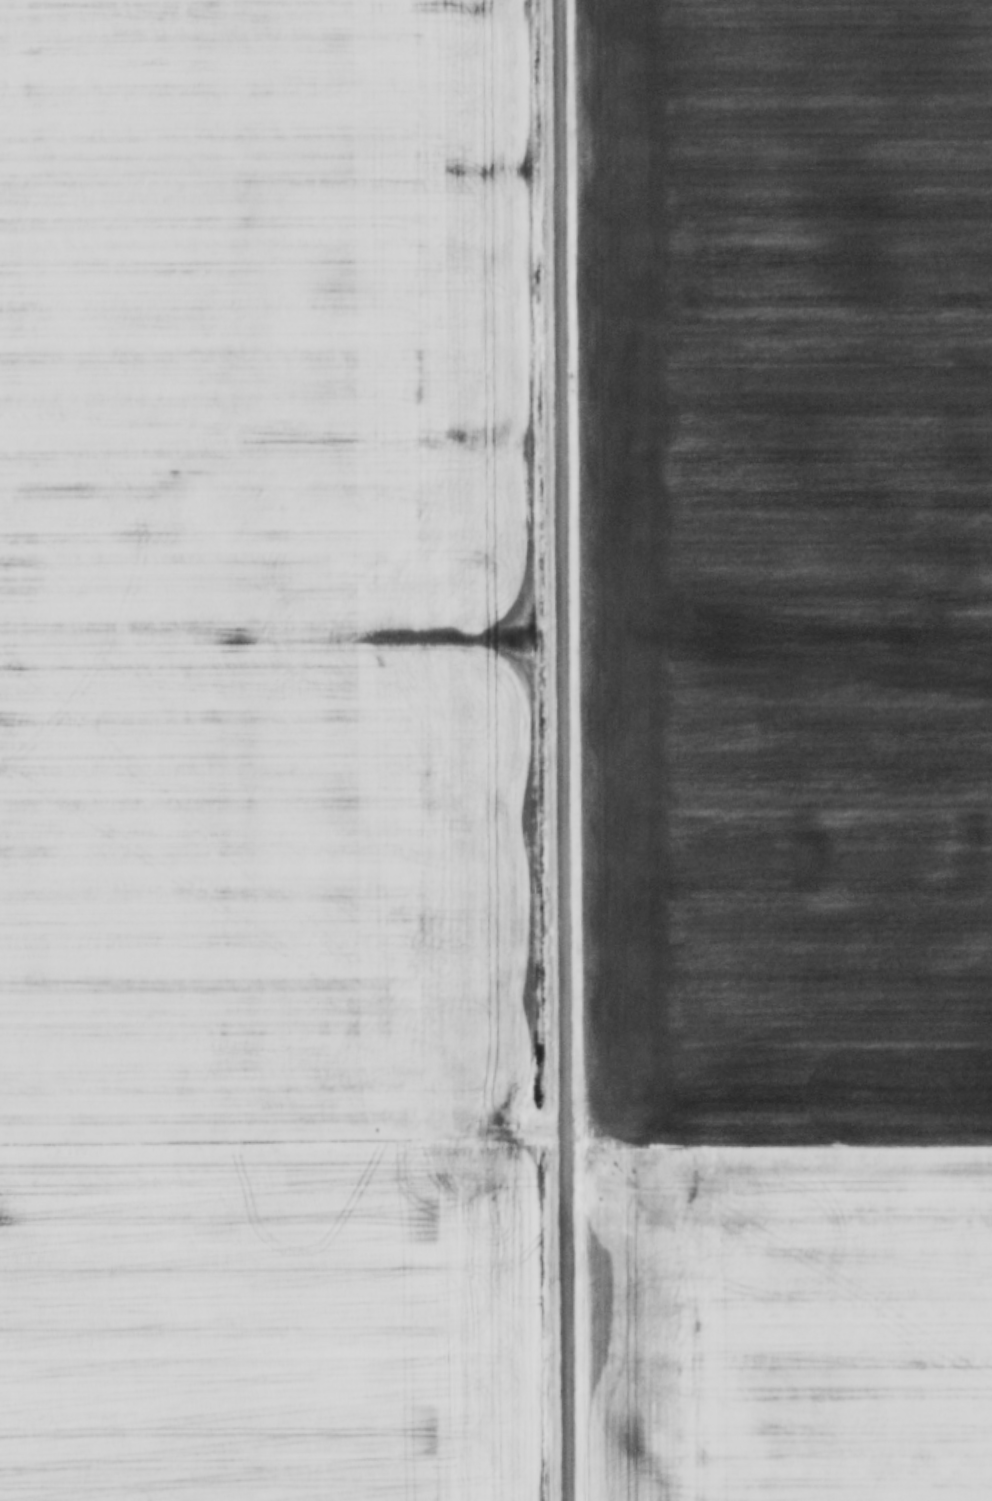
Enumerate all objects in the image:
road: (561, 750)

